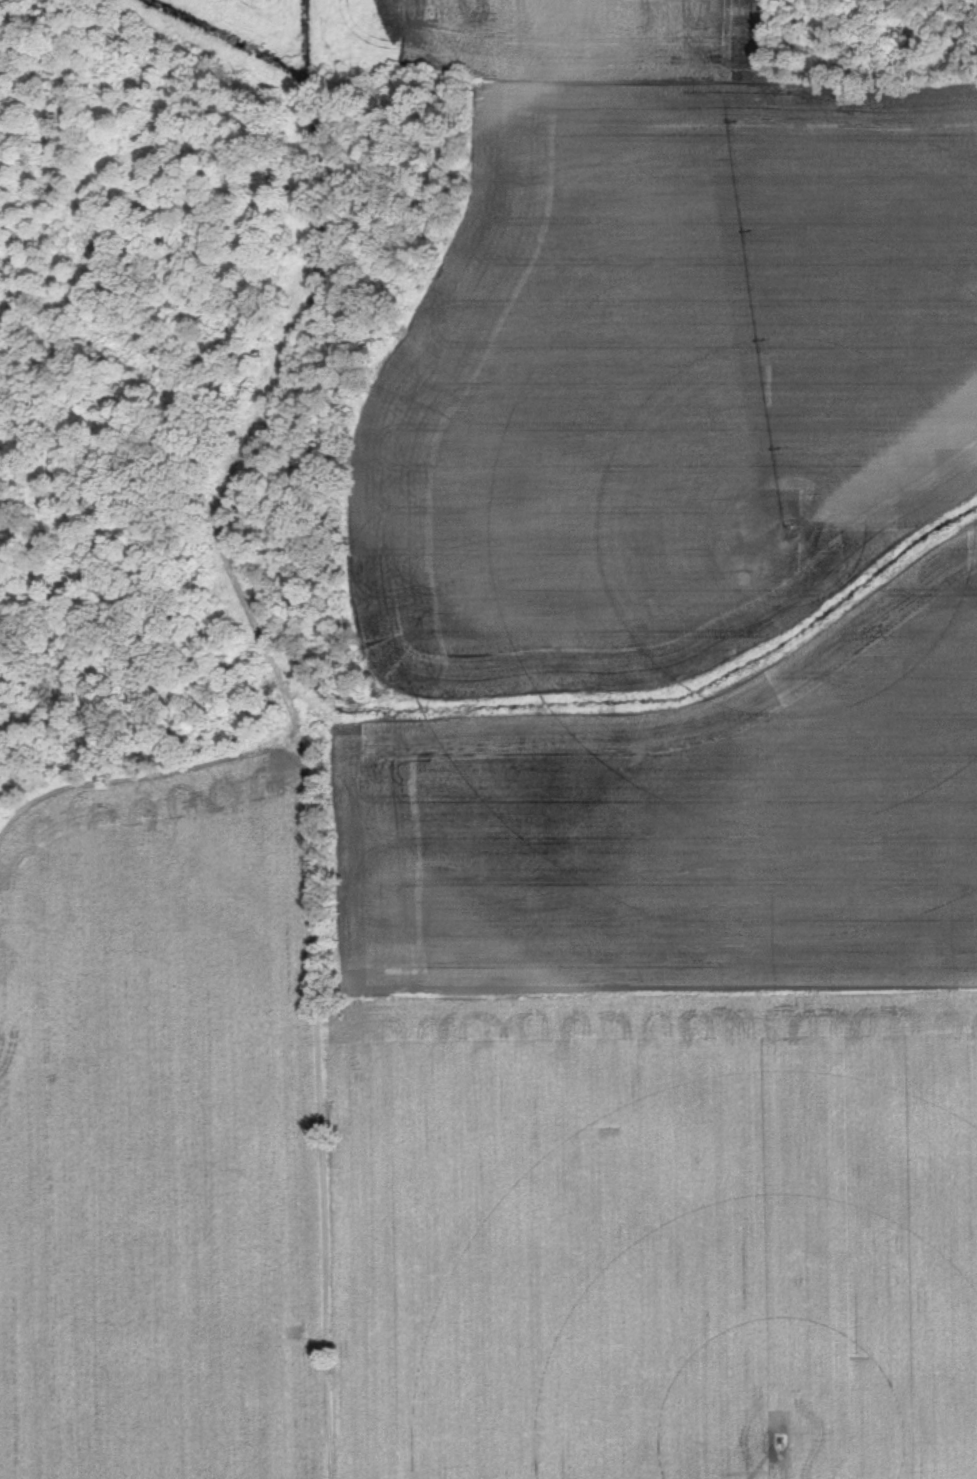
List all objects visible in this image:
crop: (230, 8)
crop: (661, 355)
crop: (664, 1071)
crop: (167, 1130)

